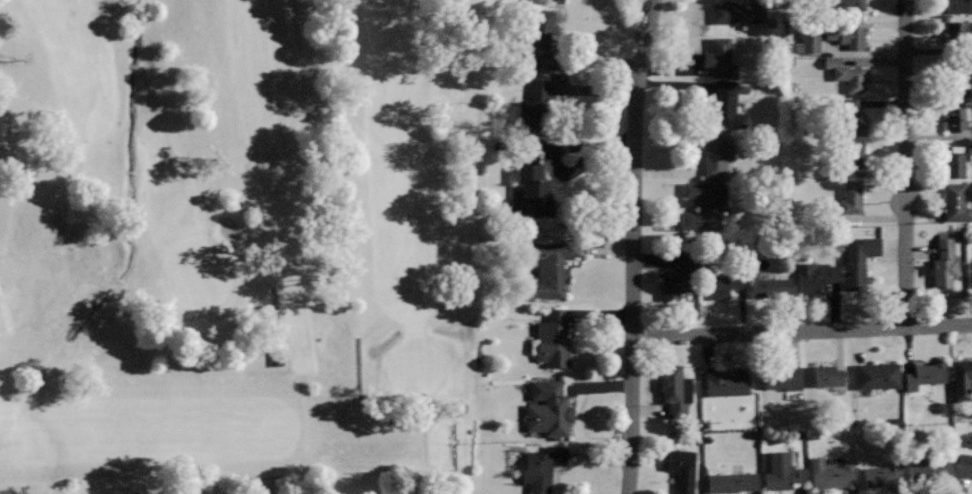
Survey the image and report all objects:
building: (562, 0)
building: (842, 5)
building: (958, 6)
building: (736, 12)
building: (958, 32)
building: (847, 36)
building: (540, 40)
building: (809, 42)
building: (720, 56)
building: (846, 73)
building: (957, 77)
building: (537, 98)
building: (727, 104)
building: (851, 114)
building: (956, 118)
building: (853, 150)
building: (716, 154)
road: (318, 157)
road: (907, 163)
building: (953, 165)
building: (532, 192)
building: (851, 196)
building: (956, 202)
building: (704, 203)
park: (241, 244)
road: (634, 246)
building: (859, 260)
building: (944, 263)
building: (550, 266)
building: (679, 275)
building: (814, 275)
building: (726, 283)
building: (773, 286)
road: (273, 321)
road: (803, 330)
building: (554, 337)
building: (926, 374)
building: (828, 375)
building: (878, 375)
building: (782, 376)
building: (962, 377)
building: (727, 381)
building: (674, 386)
building: (549, 412)
road: (375, 416)
building: (965, 464)
building: (542, 467)
building: (682, 468)
building: (929, 468)
building: (782, 471)
building: (883, 472)
building: (832, 475)
building: (732, 482)

